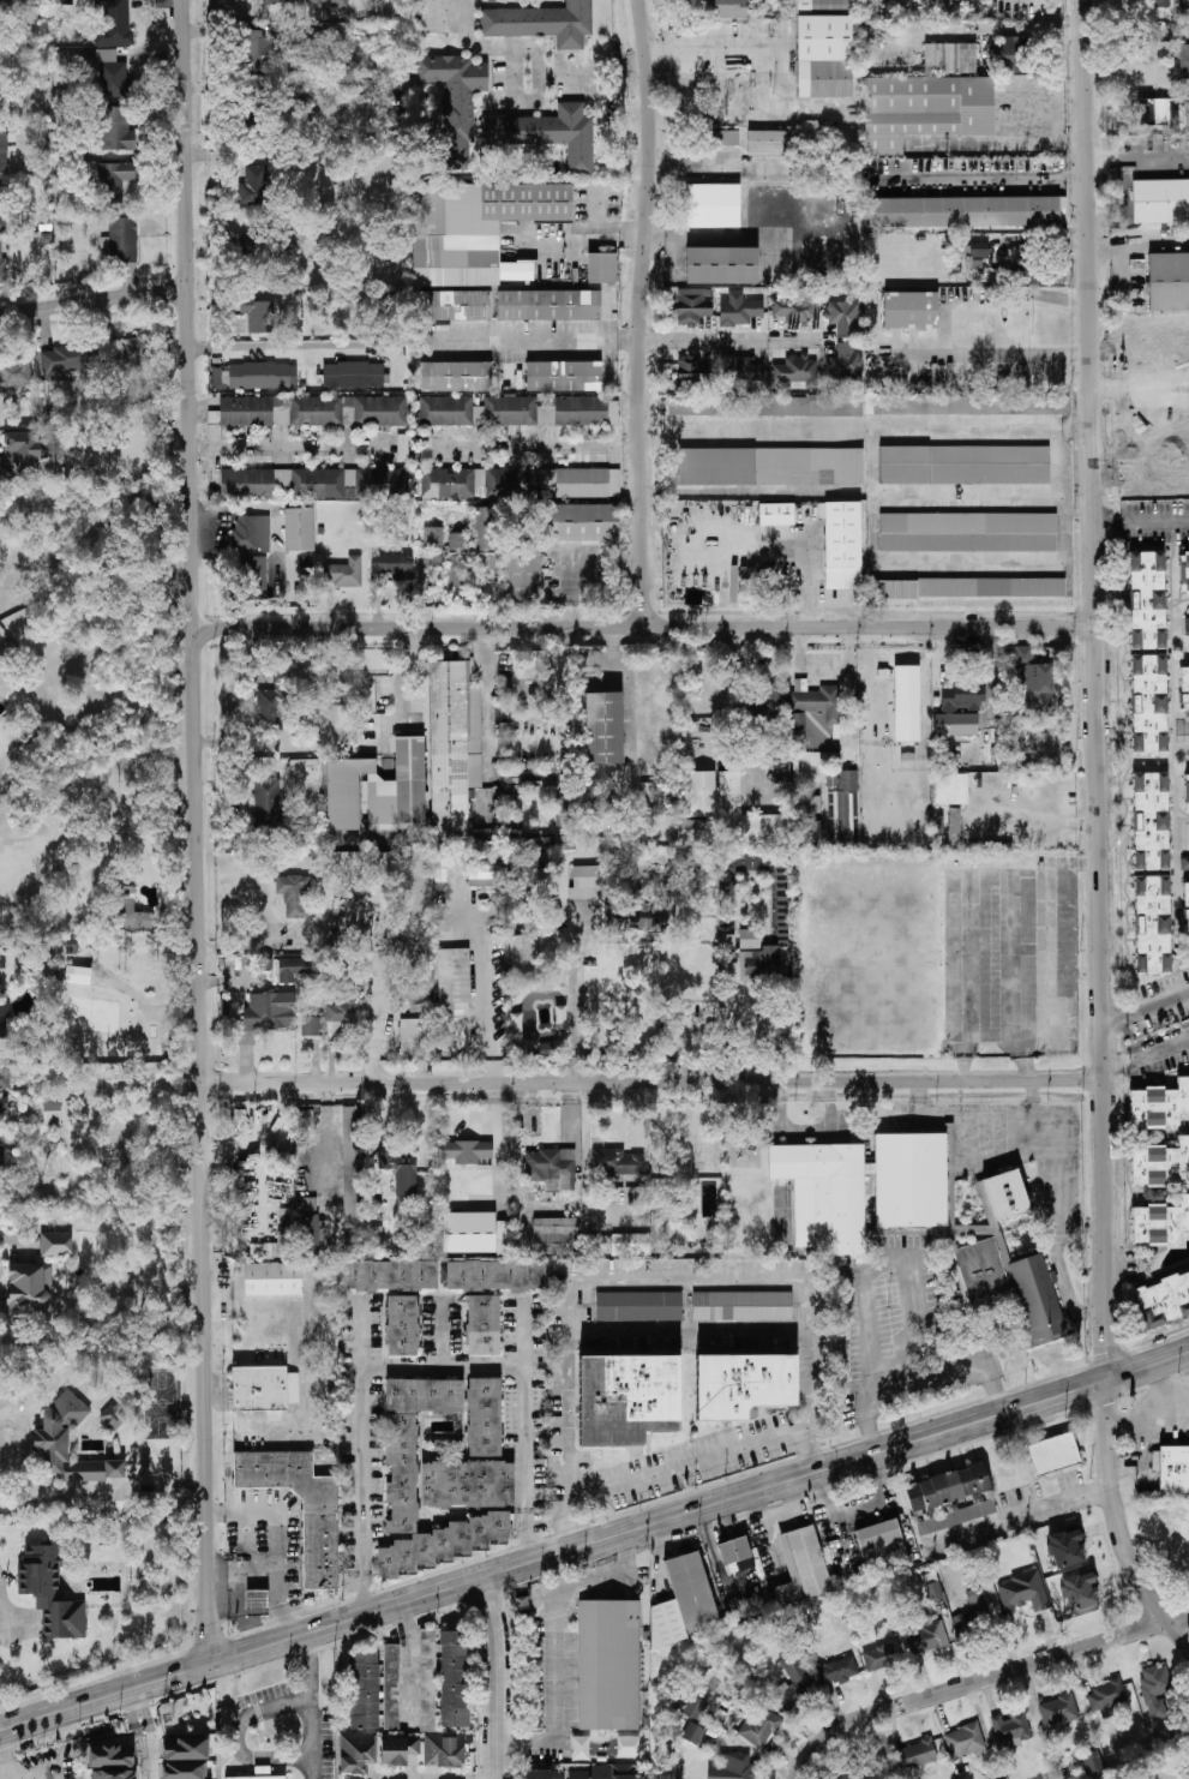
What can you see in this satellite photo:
building: (282, 1)
building: (1157, 4)
building: (325, 5)
building: (728, 8)
building: (114, 23)
building: (541, 23)
building: (313, 42)
building: (824, 48)
building: (258, 49)
road: (528, 52)
building: (1011, 55)
building: (949, 59)
building: (1184, 61)
building: (103, 71)
building: (340, 88)
building: (0, 102)
building: (455, 102)
road: (510, 104)
building: (925, 109)
building: (118, 130)
building: (547, 133)
building: (725, 138)
building: (769, 143)
building: (2, 149)
road: (1139, 160)
road: (989, 178)
road: (1077, 178)
building: (114, 180)
building: (254, 186)
building: (1160, 200)
building: (0, 203)
building: (713, 205)
building: (963, 212)
building: (122, 240)
building: (473, 241)
building: (294, 242)
building: (251, 250)
building: (977, 256)
building: (721, 265)
building: (2, 266)
building: (602, 268)
building: (1169, 282)
road: (95, 303)
building: (548, 305)
building: (795, 306)
building: (692, 307)
building: (739, 310)
building: (909, 310)
road: (637, 313)
building: (258, 315)
building: (845, 317)
road: (538, 340)
road: (729, 341)
building: (1171, 345)
road: (275, 346)
building: (134, 354)
road: (989, 355)
building: (67, 361)
building: (845, 363)
building: (739, 370)
building: (795, 371)
building: (693, 373)
building: (16, 376)
building: (353, 376)
building: (250, 377)
building: (456, 377)
building: (563, 377)
road: (1141, 382)
building: (865, 406)
building: (380, 411)
building: (445, 411)
building: (545, 411)
building: (277, 412)
building: (613, 413)
building: (1188, 419)
road: (1075, 430)
road: (130, 438)
road: (542, 443)
road: (288, 447)
building: (402, 448)
building: (426, 448)
building: (1165, 450)
building: (22, 453)
building: (963, 465)
building: (769, 467)
road: (1058, 467)
building: (317, 483)
building: (505, 483)
building: (575, 483)
building: (614, 483)
building: (776, 514)
building: (582, 522)
building: (713, 522)
road: (1142, 522)
building: (299, 529)
building: (251, 533)
building: (967, 533)
building: (433, 537)
building: (842, 545)
building: (472, 556)
road: (809, 563)
road: (935, 565)
building: (394, 567)
building: (1183, 570)
building: (343, 573)
building: (523, 575)
building: (254, 577)
building: (968, 588)
building: (1147, 600)
road: (649, 629)
road: (823, 664)
road: (871, 675)
building: (1034, 682)
building: (1184, 684)
road: (1100, 689)
building: (961, 699)
building: (773, 702)
building: (906, 703)
building: (1148, 703)
building: (272, 705)
road: (487, 705)
building: (956, 725)
building: (797, 726)
building: (603, 729)
building: (452, 748)
building: (951, 790)
building: (702, 791)
building: (378, 792)
building: (1185, 792)
building: (266, 801)
building: (809, 804)
building: (744, 817)
road: (1040, 821)
building: (1151, 821)
building: (807, 828)
road: (199, 832)
building: (692, 833)
building: (1184, 863)
building: (484, 871)
building: (587, 882)
building: (293, 894)
building: (1185, 900)
building: (131, 911)
road: (975, 915)
building: (627, 917)
building: (1152, 924)
building: (749, 939)
building: (521, 954)
building: (1, 960)
building: (759, 962)
building: (296, 968)
building: (78, 975)
building: (452, 981)
road: (575, 994)
road: (1064, 996)
road: (1147, 1008)
building: (341, 1013)
park: (90, 1014)
building: (268, 1014)
building: (4, 1019)
building: (516, 1024)
building: (310, 1026)
road: (380, 1032)
building: (418, 1038)
road: (1147, 1055)
road: (497, 1065)
building: (5, 1079)
road: (654, 1083)
road: (133, 1100)
building: (4, 1102)
building: (1159, 1106)
building: (52, 1112)
building: (467, 1151)
building: (1, 1155)
building: (617, 1163)
building: (353, 1168)
building: (551, 1169)
building: (401, 1172)
road: (589, 1174)
building: (861, 1188)
building: (1005, 1194)
building: (310, 1204)
building: (1160, 1222)
building: (468, 1233)
building: (311, 1236)
building: (557, 1236)
building: (55, 1244)
building: (630, 1245)
building: (388, 1276)
building: (272, 1280)
building: (1007, 1286)
road: (865, 1288)
building: (28, 1292)
building: (491, 1295)
building: (1163, 1300)
building: (638, 1306)
building: (743, 1306)
building: (402, 1325)
road: (575, 1325)
road: (446, 1365)
road: (950, 1368)
building: (743, 1385)
building: (263, 1389)
road: (1160, 1392)
building: (626, 1398)
park: (162, 1403)
building: (113, 1416)
road: (1149, 1424)
road: (527, 1431)
building: (50, 1442)
building: (1053, 1454)
building: (474, 1458)
road: (364, 1462)
road: (1145, 1462)
building: (1171, 1470)
building: (402, 1479)
building: (950, 1498)
road: (858, 1507)
road: (569, 1510)
road: (1029, 1510)
road: (1123, 1519)
building: (319, 1539)
road: (594, 1541)
building: (881, 1543)
road: (278, 1545)
building: (1065, 1549)
building: (735, 1556)
building: (801, 1567)
road: (238, 1582)
road: (224, 1586)
building: (932, 1587)
building: (1079, 1591)
building: (49, 1593)
building: (1022, 1593)
building: (257, 1603)
building: (685, 1603)
building: (521, 1604)
building: (973, 1615)
road: (7, 1622)
road: (1182, 1623)
building: (927, 1639)
road: (554, 1642)
building: (882, 1657)
road: (409, 1659)
building: (608, 1665)
building: (837, 1671)
road: (499, 1677)
building: (454, 1678)
building: (427, 1681)
building: (795, 1682)
road: (974, 1682)
building: (391, 1687)
building: (364, 1690)
building: (1155, 1690)
road: (131, 1691)
building: (1106, 1697)
road: (310, 1706)
building: (693, 1708)
building: (1058, 1712)
park: (188, 1714)
building: (759, 1727)
building: (1010, 1730)
building: (693, 1733)
road: (238, 1737)
building: (963, 1741)
building: (581, 1748)
building: (398, 1750)
building: (443, 1750)
building: (356, 1753)
building: (917, 1754)
building: (109, 1756)
road: (4, 1757)
building: (1092, 1763)
road: (148, 1765)
building: (733, 1767)
building: (589, 1772)
building: (627, 1772)
road: (31, 1773)
building: (262, 1773)
building: (855, 1773)
building: (114, 1774)
building: (544, 1774)
road: (7, 1775)

